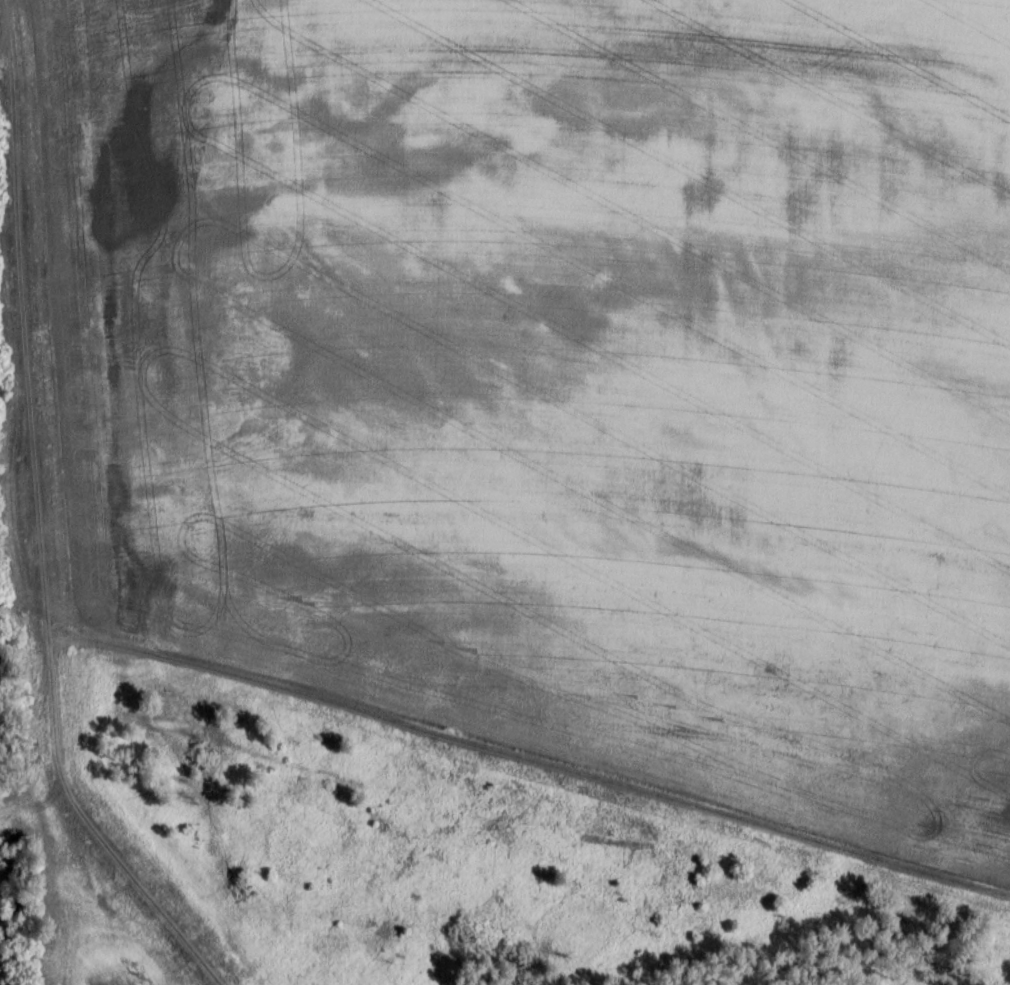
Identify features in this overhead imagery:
road: (3, 37)
road: (36, 520)

